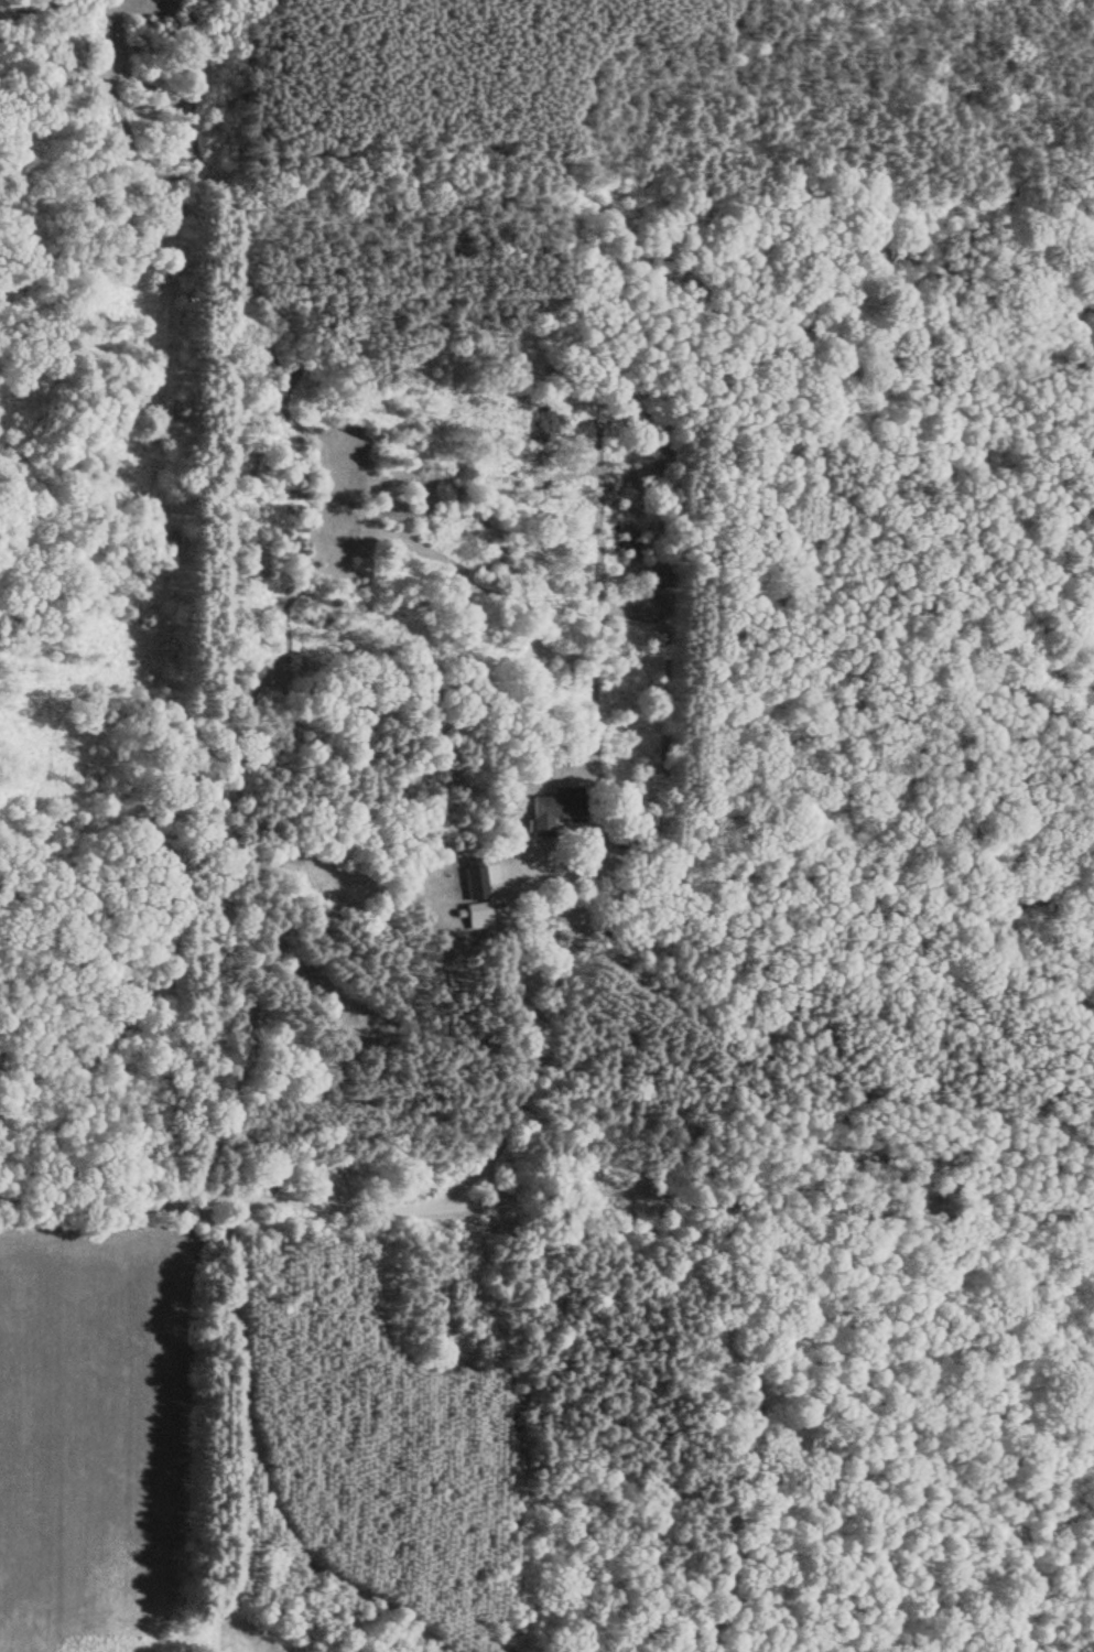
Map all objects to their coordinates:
building: (552, 810)
road: (236, 1357)
crop: (88, 1437)

